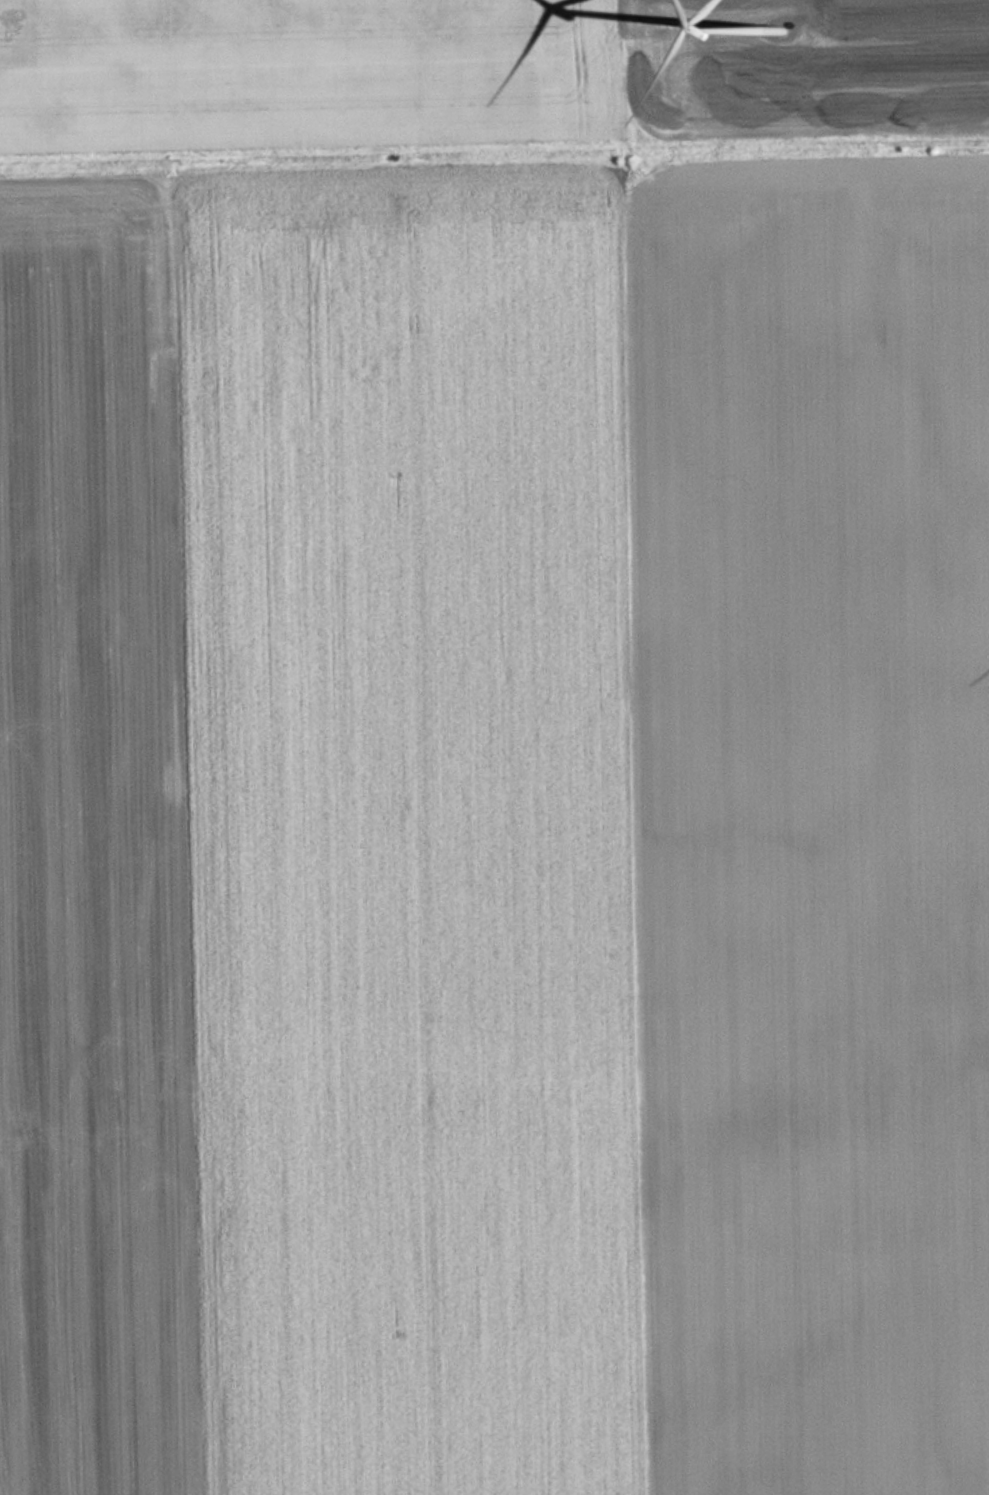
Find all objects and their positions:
wind turbine: (780, 17)
road: (657, 43)

